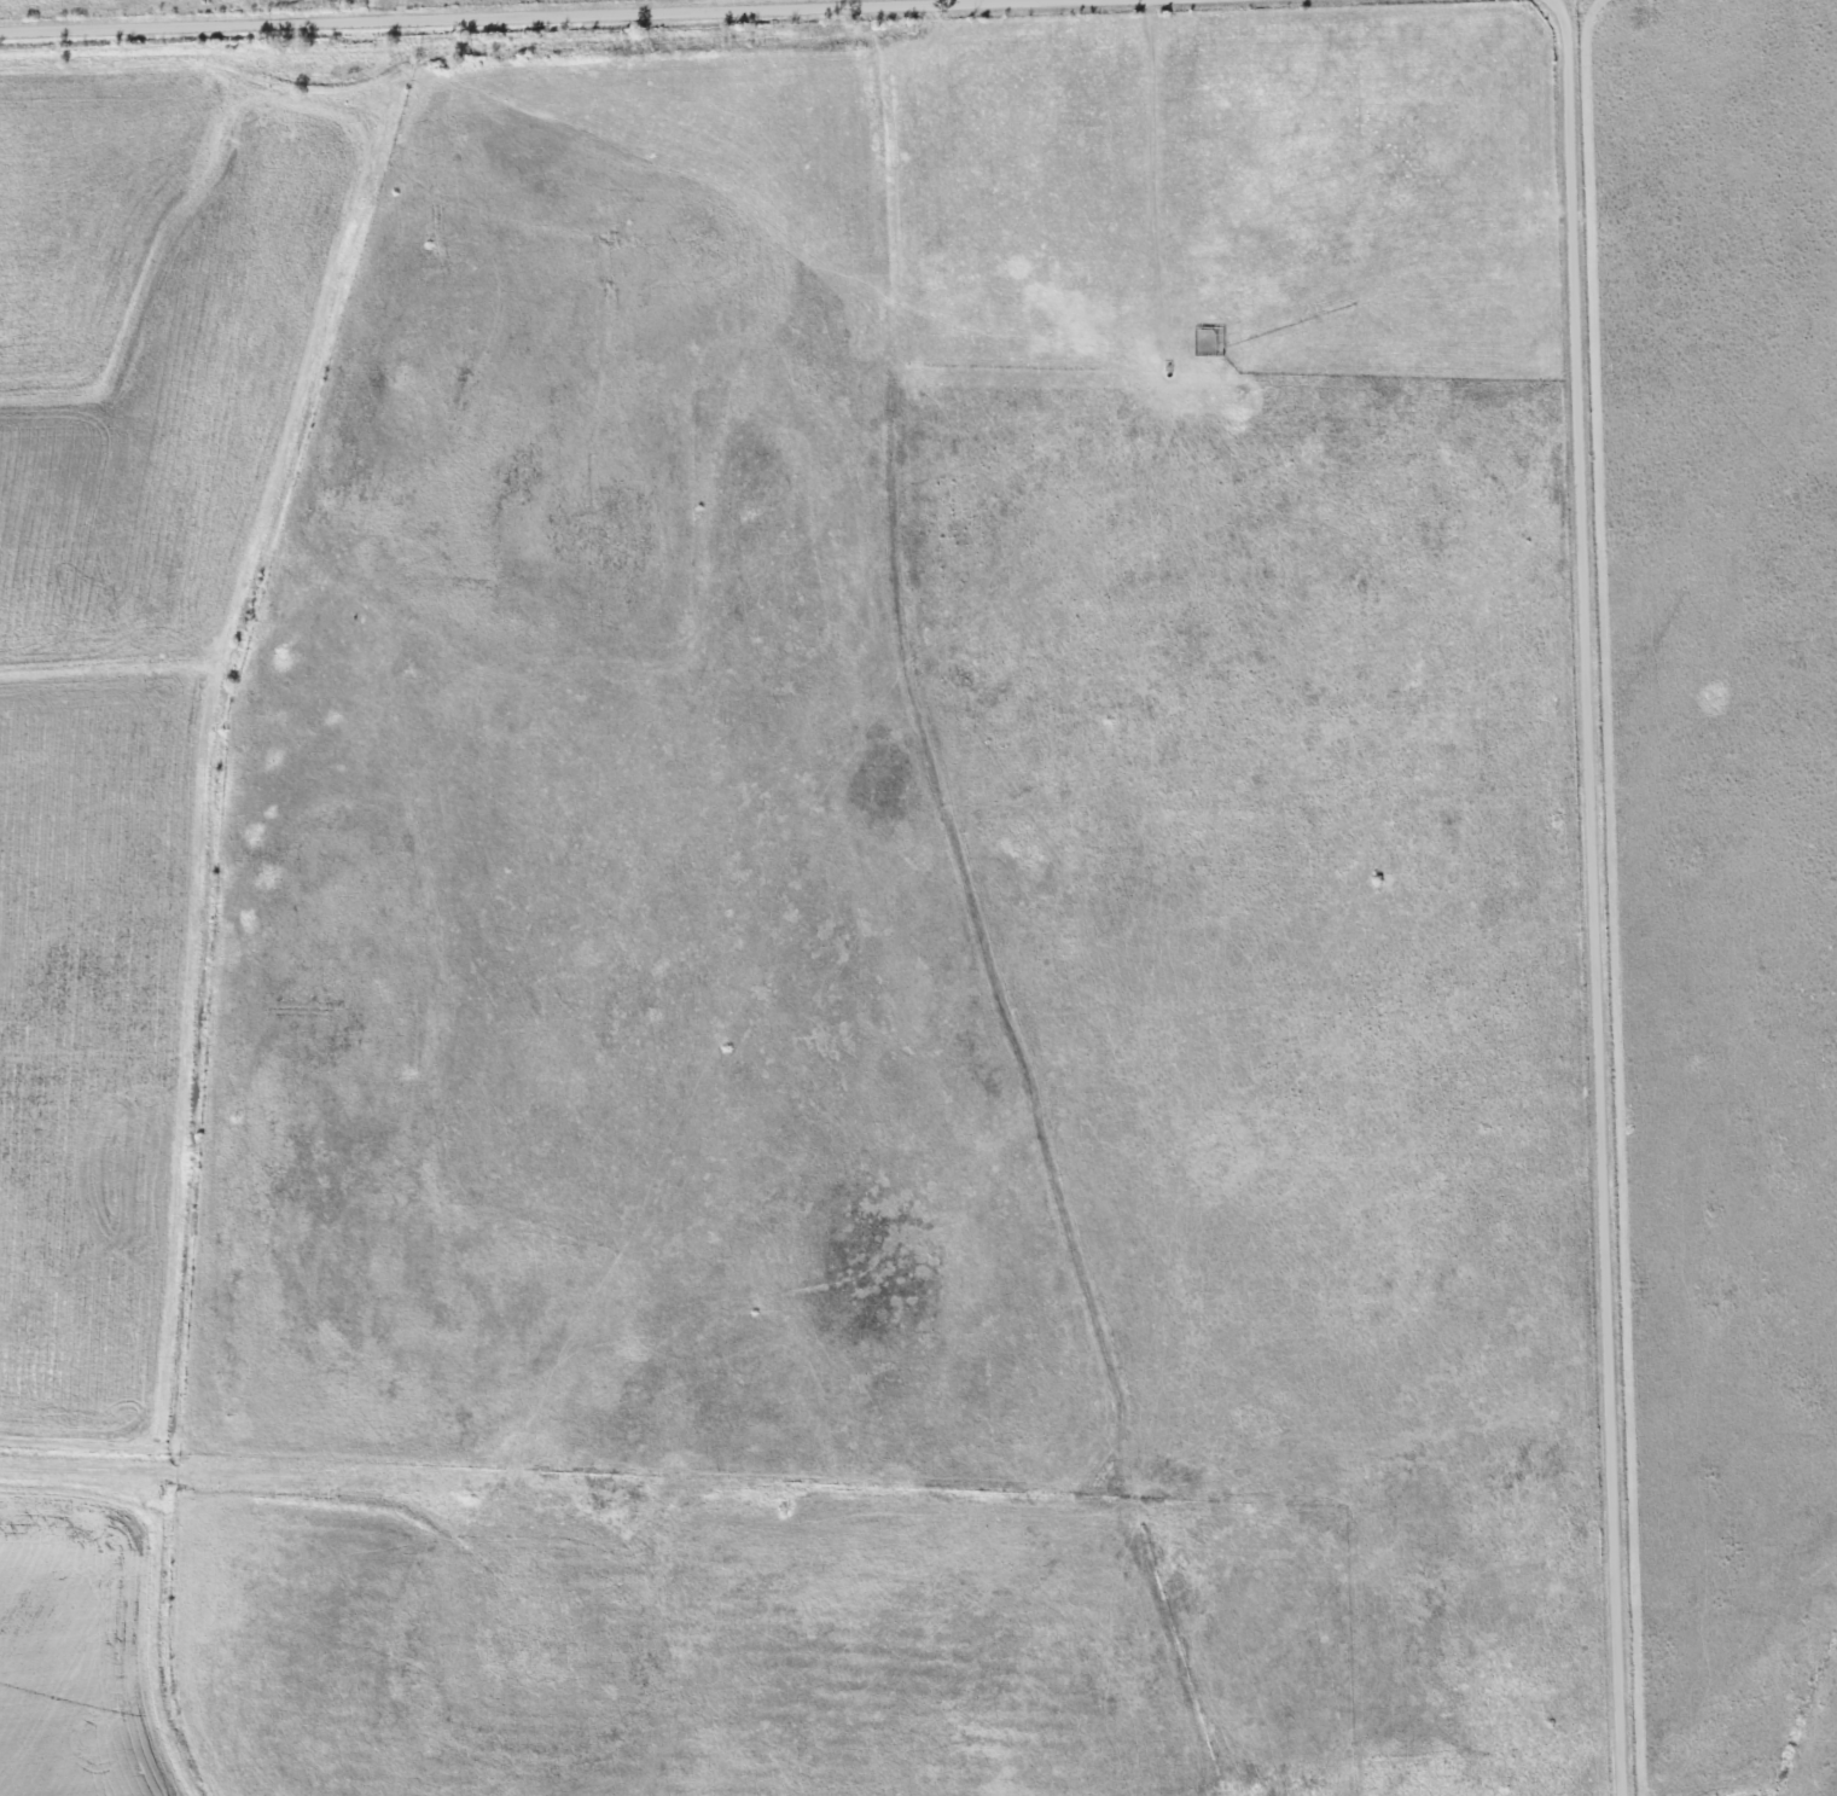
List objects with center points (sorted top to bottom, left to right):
road: (483, 14)
road: (1597, 896)

